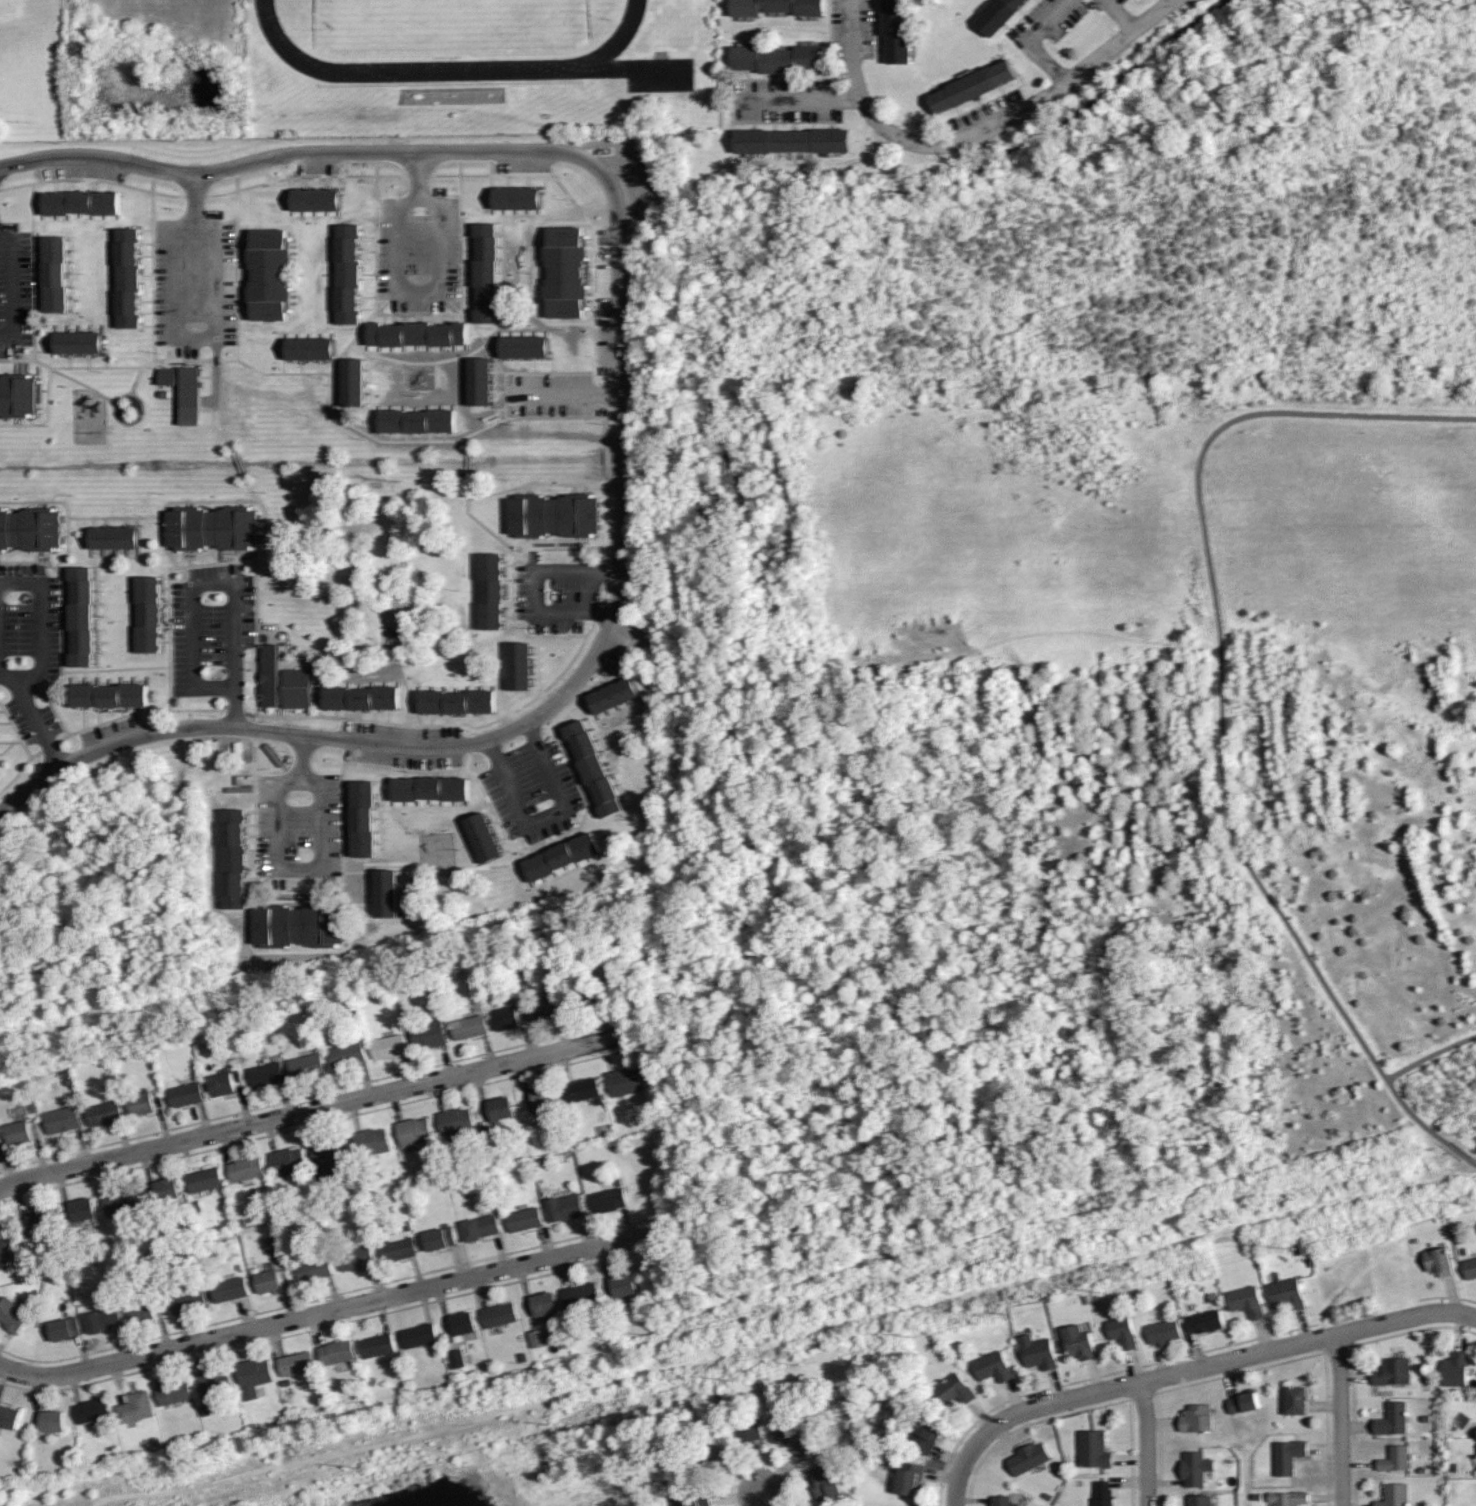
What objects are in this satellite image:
building: (777, 7)
road: (1121, 14)
building: (999, 15)
park: (449, 22)
building: (896, 31)
road: (1034, 40)
track: (617, 42)
building: (778, 58)
road: (853, 67)
building: (972, 85)
road: (797, 99)
road: (1037, 102)
building: (792, 140)
road: (415, 152)
road: (417, 174)
road: (196, 197)
building: (517, 198)
building: (316, 199)
building: (82, 202)
building: (566, 272)
building: (55, 273)
building: (269, 273)
building: (350, 273)
building: (489, 273)
building: (131, 276)
road: (12, 289)
road: (417, 291)
building: (421, 332)
road: (193, 339)
building: (78, 342)
building: (525, 346)
building: (311, 348)
building: (480, 381)
building: (183, 382)
building: (354, 382)
building: (17, 394)
road: (565, 394)
building: (417, 420)
building: (556, 515)
building: (215, 527)
building: (31, 529)
building: (113, 537)
road: (193, 584)
road: (534, 586)
building: (492, 590)
building: (152, 611)
building: (85, 615)
road: (40, 627)
building: (520, 665)
road: (26, 681)
building: (284, 681)
building: (110, 695)
building: (614, 695)
building: (361, 697)
building: (457, 701)
road: (1220, 702)
road: (235, 707)
road: (36, 720)
building: (223, 747)
road: (435, 748)
road: (300, 757)
building: (218, 764)
building: (594, 768)
building: (431, 788)
road: (545, 816)
building: (363, 818)
building: (483, 837)
building: (562, 856)
building: (238, 858)
road: (298, 869)
building: (386, 893)
building: (300, 925)
building: (590, 996)
building: (548, 1006)
building: (506, 1018)
building: (468, 1026)
building: (428, 1034)
building: (388, 1046)
building: (346, 1054)
road: (1432, 1060)
building: (305, 1063)
building: (264, 1074)
building: (623, 1081)
building: (221, 1084)
building: (581, 1089)
building: (183, 1094)
building: (543, 1097)
building: (139, 1103)
building: (499, 1107)
road: (314, 1109)
building: (102, 1113)
building: (61, 1119)
building: (455, 1121)
building: (413, 1130)
building: (17, 1131)
building: (371, 1142)
building: (0, 1146)
building: (328, 1152)
building: (287, 1161)
building: (245, 1169)
building: (203, 1179)
building: (166, 1188)
building: (607, 1199)
building: (123, 1201)
building: (564, 1207)
building: (82, 1209)
building: (41, 1218)
building: (523, 1219)
building: (479, 1227)
building: (438, 1238)
building: (273, 1245)
building: (397, 1247)
building: (4, 1252)
building: (354, 1258)
building: (1441, 1260)
building: (1471, 1267)
building: (312, 1269)
building: (267, 1281)
building: (623, 1284)
building: (229, 1289)
building: (1293, 1289)
building: (579, 1295)
building: (187, 1300)
building: (1250, 1300)
building: (543, 1302)
road: (338, 1308)
building: (141, 1310)
building: (12, 1314)
building: (498, 1314)
road: (1468, 1314)
building: (103, 1319)
building: (1205, 1320)
building: (461, 1322)
building: (64, 1328)
building: (1125, 1330)
building: (1163, 1332)
building: (418, 1336)
building: (540, 1338)
building: (1083, 1339)
building: (376, 1345)
building: (335, 1351)
building: (1038, 1351)
building: (459, 1360)
building: (295, 1363)
road: (1207, 1365)
building: (992, 1366)
building: (1453, 1369)
building: (1392, 1372)
building: (252, 1375)
building: (213, 1380)
building: (955, 1391)
building: (173, 1392)
building: (1299, 1398)
building: (1246, 1401)
building: (135, 1407)
building: (92, 1409)
building: (9, 1416)
building: (1197, 1417)
building: (1389, 1419)
road: (1339, 1420)
building: (51, 1421)
building: (747, 1429)
building: (923, 1435)
building: (796, 1437)
road: (1146, 1443)
building: (1094, 1448)
building: (1288, 1455)
building: (1393, 1458)
building: (705, 1459)
building: (1028, 1459)
building: (1195, 1469)
building: (909, 1477)
road: (957, 1477)
building: (826, 1481)
building: (1105, 1493)
building: (1392, 1494)
building: (1288, 1497)
building: (693, 1498)
road: (761, 1499)
building: (1004, 1500)
building: (1199, 1500)

